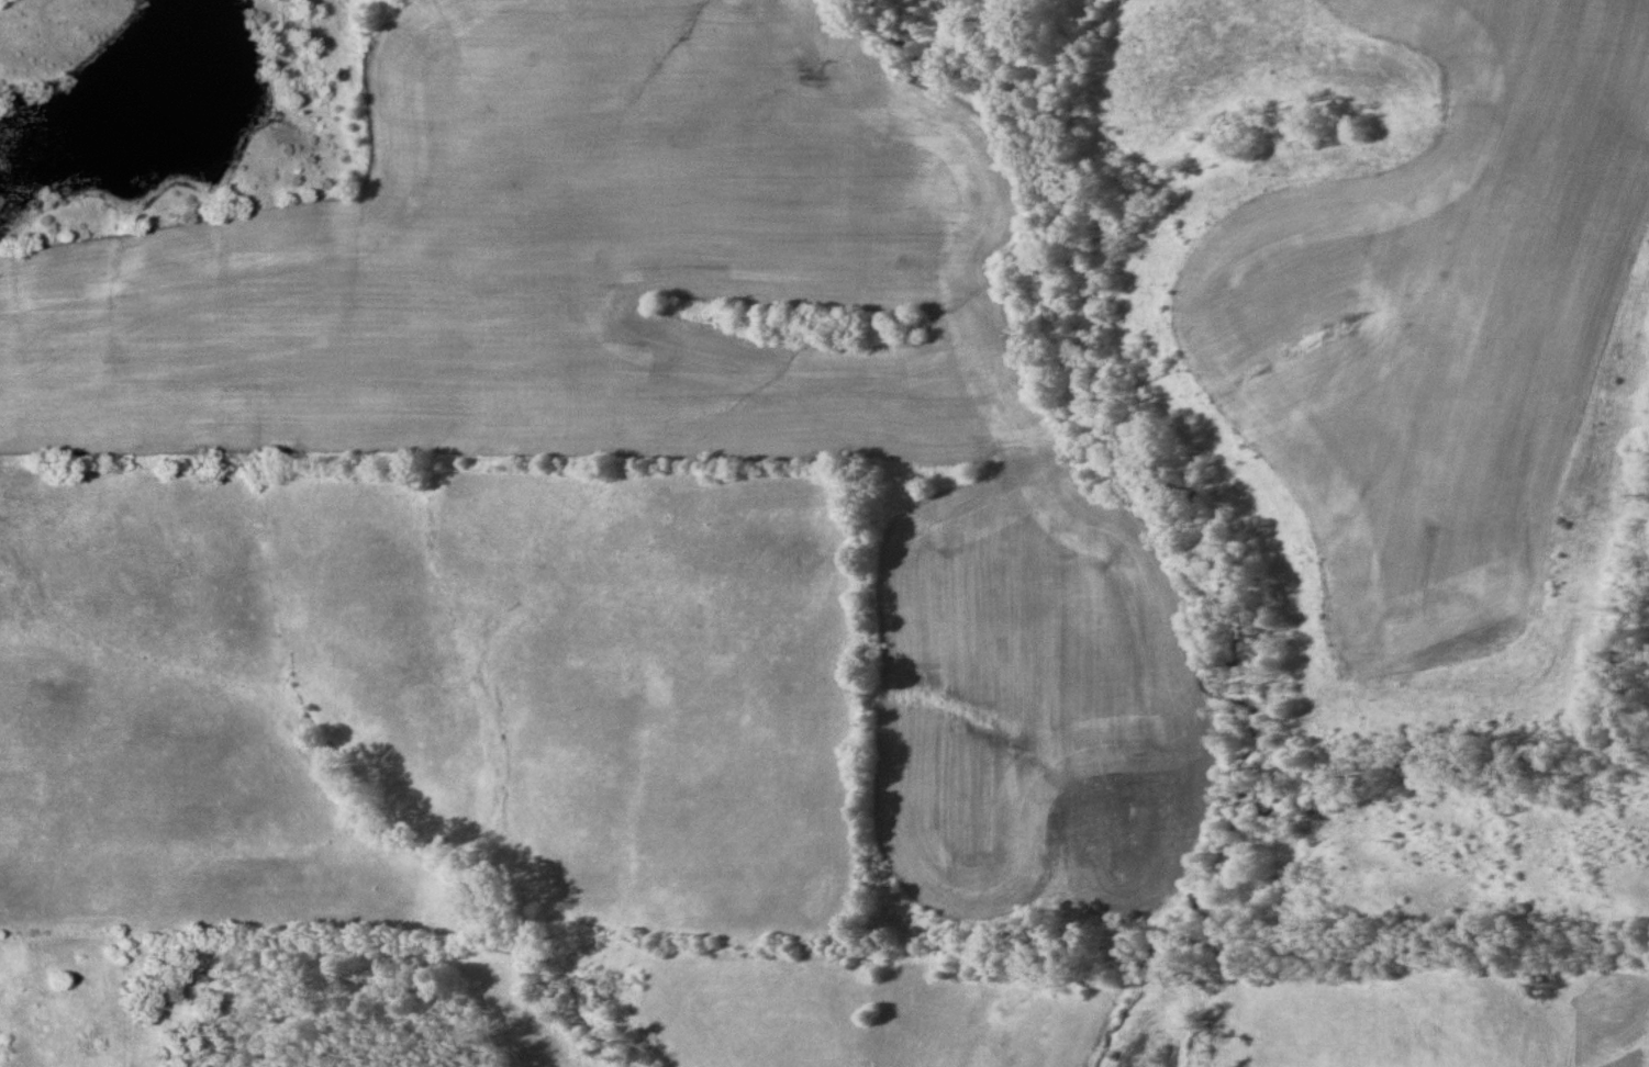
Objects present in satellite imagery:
road: (1449, 889)
road: (1631, 1054)

